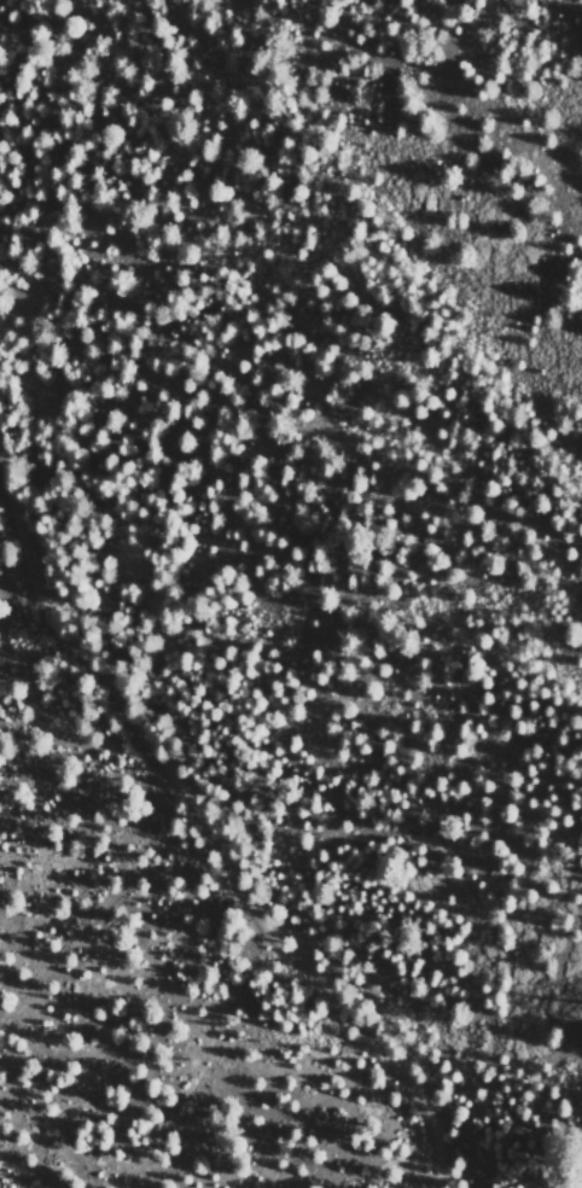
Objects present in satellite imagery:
road: (209, 834)

